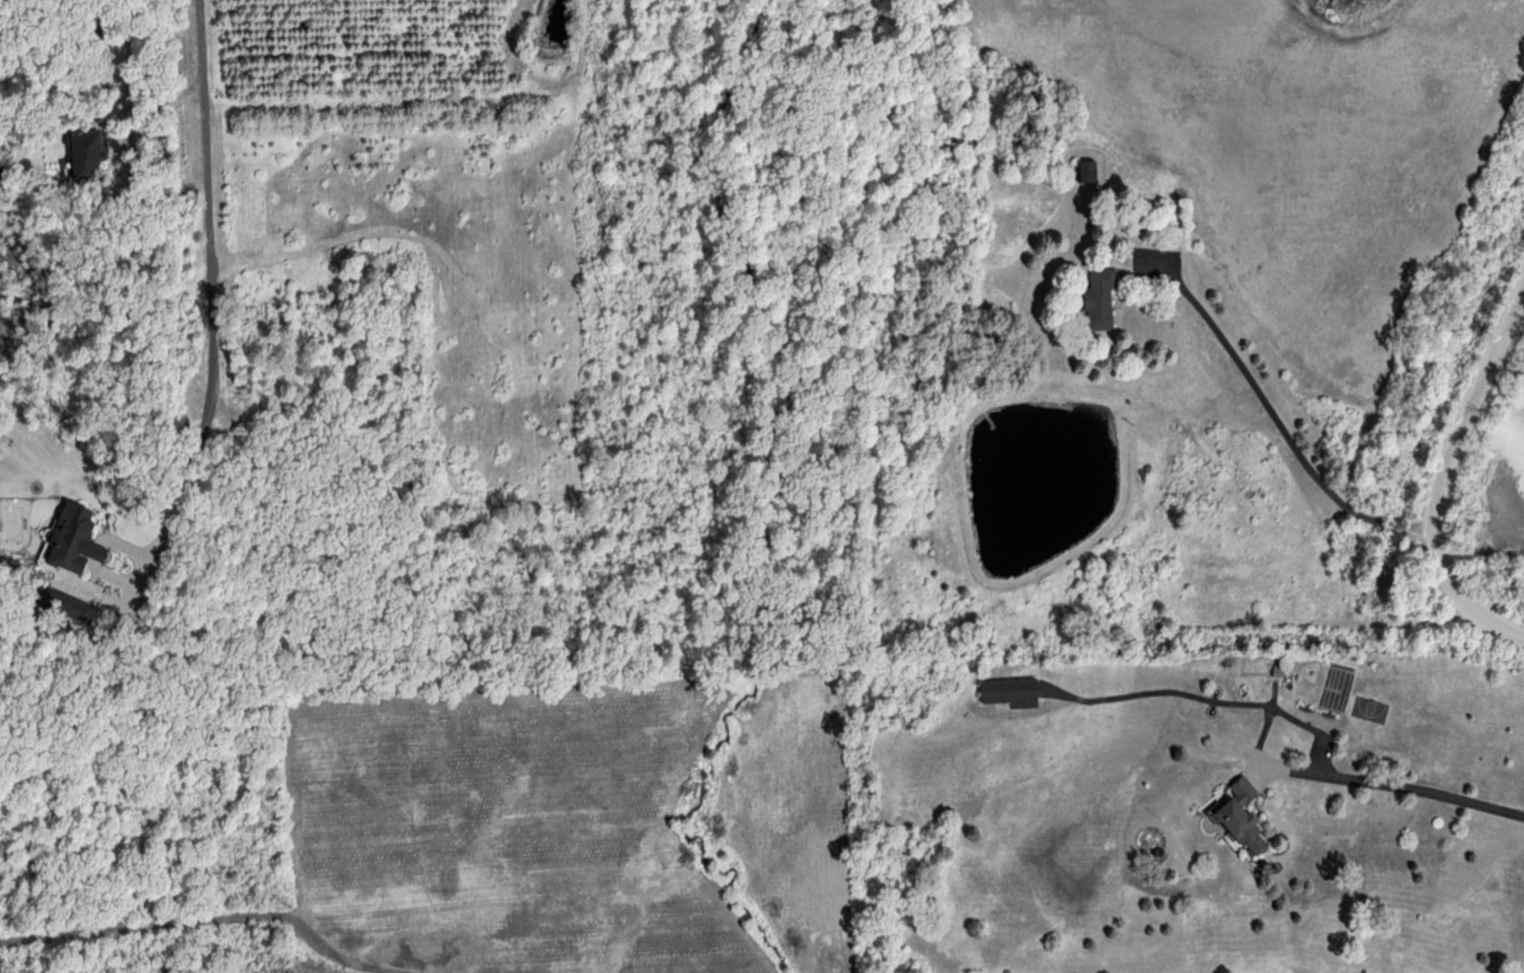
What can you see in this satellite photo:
road: (157, 109)
crop: (1293, 140)
road: (119, 146)
building: (86, 153)
building: (1087, 173)
road: (149, 196)
road: (210, 222)
building: (1101, 300)
road: (1270, 411)
pier: (988, 419)
road: (1443, 472)
building: (73, 541)
road: (124, 546)
road: (95, 554)
road: (149, 559)
road: (113, 577)
building: (67, 607)
building: (1277, 658)
building: (1276, 674)
building: (1011, 694)
road: (1300, 722)
road: (1265, 729)
road: (1284, 770)
building: (1239, 818)
road: (203, 922)

